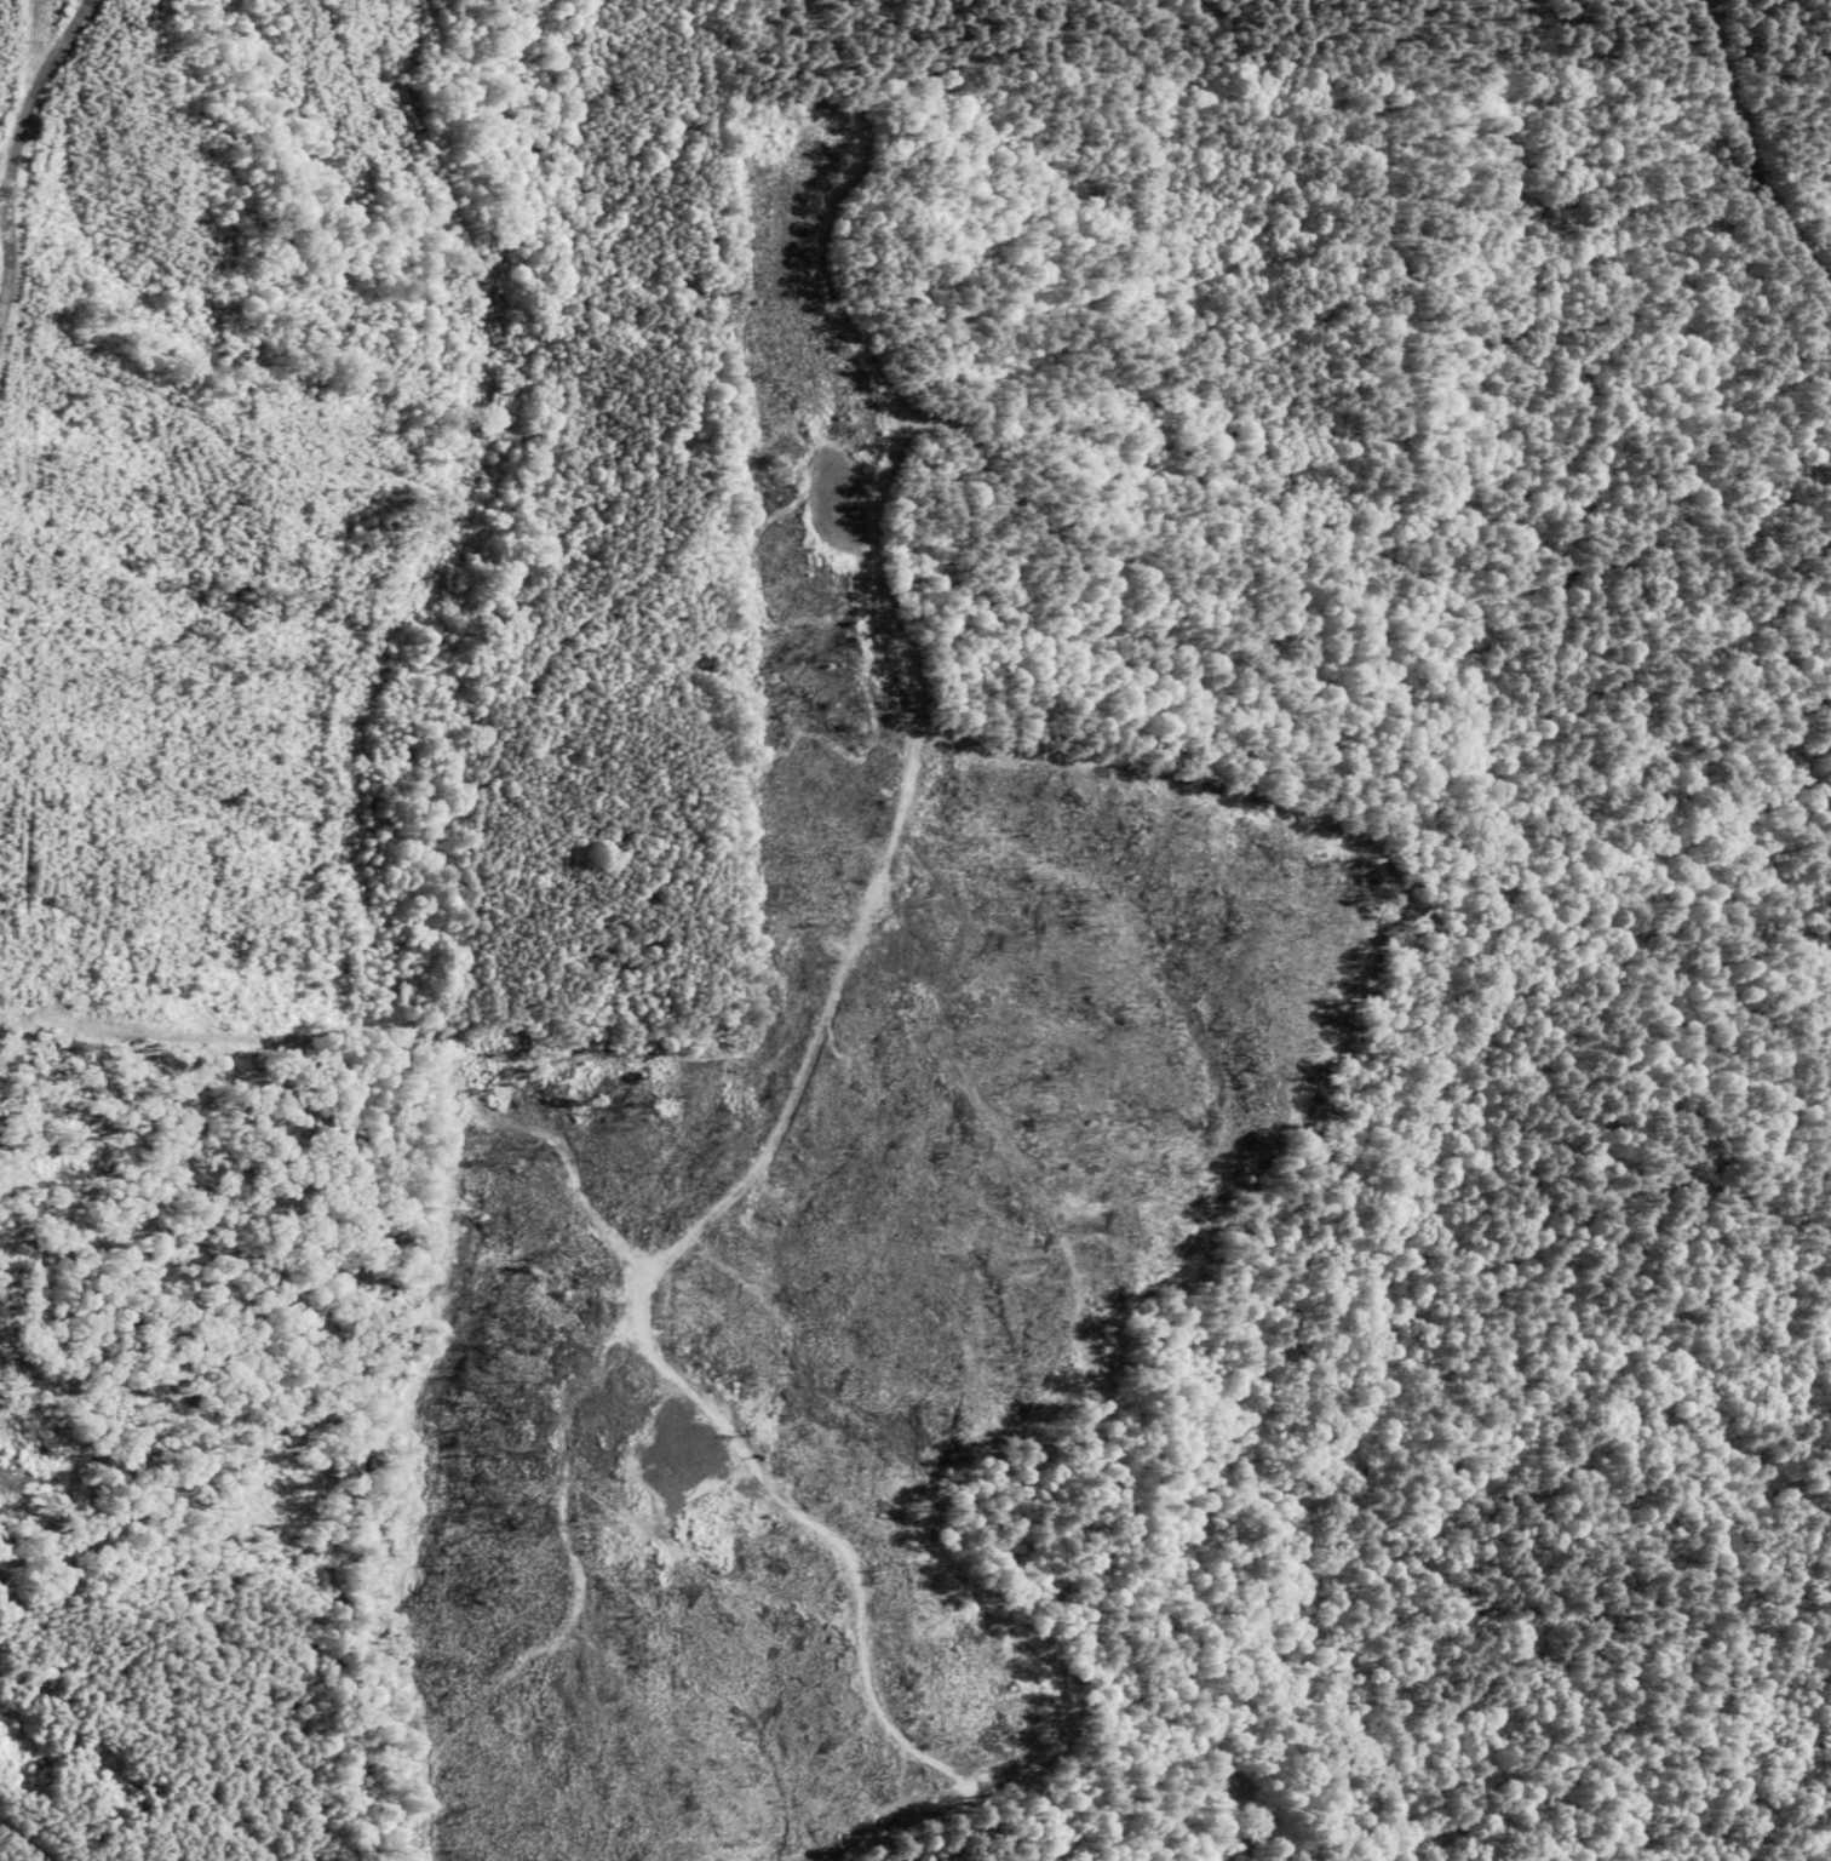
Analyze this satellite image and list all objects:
road: (31, 113)
road: (1721, 161)

